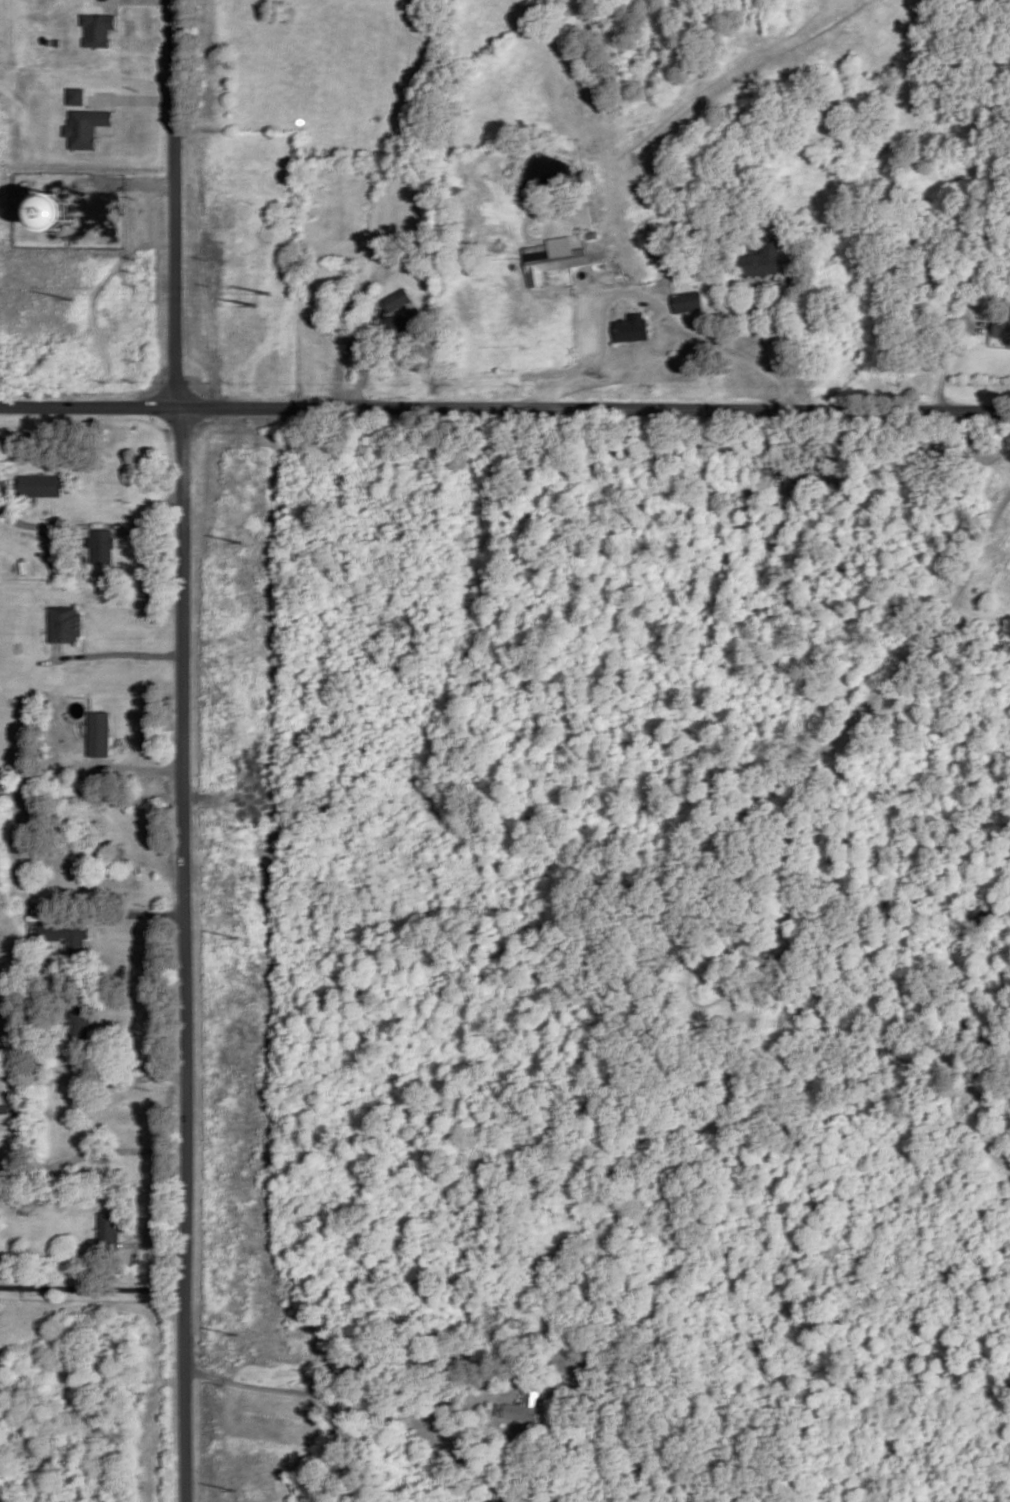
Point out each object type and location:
road: (118, 17)
building: (98, 26)
building: (57, 40)
building: (75, 96)
road: (131, 98)
road: (115, 124)
building: (85, 125)
road: (124, 184)
water tower: (55, 209)
building: (56, 210)
building: (758, 259)
building: (550, 260)
road: (643, 299)
building: (392, 300)
building: (688, 300)
building: (348, 312)
building: (396, 324)
building: (632, 326)
building: (1003, 326)
road: (949, 355)
road: (504, 408)
building: (41, 484)
road: (94, 524)
building: (103, 543)
building: (57, 559)
building: (60, 625)
road: (914, 645)
road: (117, 655)
building: (100, 732)
road: (183, 750)
road: (140, 768)
building: (118, 837)
road: (109, 915)
building: (63, 937)
building: (769, 1021)
road: (92, 1078)
building: (8, 1113)
building: (123, 1133)
building: (1, 1140)
building: (80, 1151)
road: (480, 1184)
building: (23, 1204)
building: (104, 1229)
road: (130, 1229)
road: (90, 1289)
road: (320, 1399)
building: (518, 1406)

